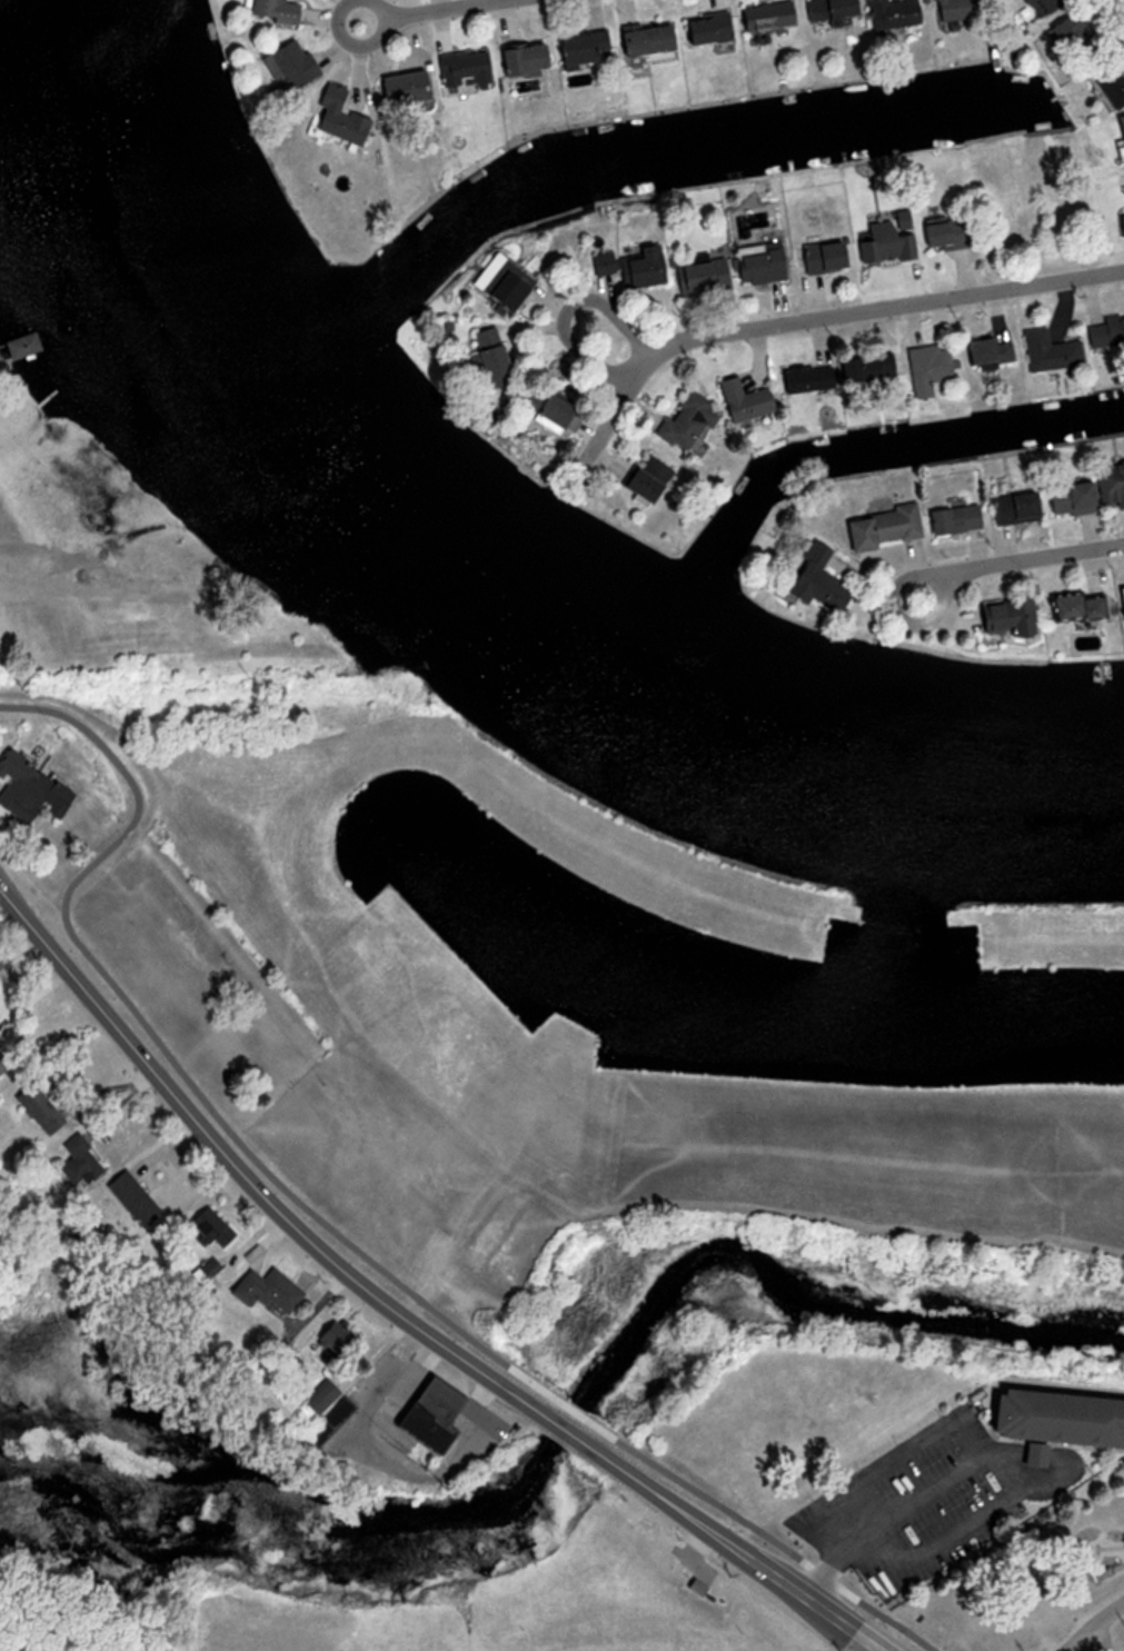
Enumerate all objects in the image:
road: (1122, 2)
building: (1043, 4)
building: (281, 10)
building: (824, 10)
building: (948, 10)
road: (395, 11)
building: (888, 13)
building: (764, 16)
building: (702, 30)
building: (1072, 39)
building: (639, 40)
building: (577, 47)
building: (517, 59)
building: (299, 63)
building: (466, 68)
building: (414, 86)
building: (344, 116)
building: (1121, 132)
building: (1120, 231)
building: (938, 235)
building: (886, 240)
building: (818, 258)
building: (757, 263)
building: (630, 267)
building: (699, 277)
building: (500, 290)
road: (858, 310)
building: (1104, 334)
building: (32, 345)
building: (1046, 351)
building: (985, 352)
building: (487, 358)
building: (863, 368)
building: (926, 371)
building: (804, 380)
building: (742, 400)
building: (540, 407)
building: (685, 422)
building: (641, 480)
building: (1108, 486)
building: (1067, 499)
building: (1013, 508)
building: (952, 520)
building: (879, 528)
road: (996, 565)
building: (814, 580)
river: (436, 584)
building: (1118, 603)
building: (1073, 607)
building: (1002, 618)
building: (36, 788)
park: (589, 1027)
building: (0, 1034)
building: (4, 1062)
building: (46, 1107)
building: (86, 1160)
road: (242, 1175)
building: (140, 1197)
building: (217, 1229)
building: (217, 1265)
building: (276, 1289)
building: (325, 1394)
building: (445, 1413)
building: (1061, 1418)
building: (336, 1419)
road: (563, 1425)
road: (888, 1523)
road: (734, 1548)
road: (1110, 1555)
park: (1029, 1584)
building: (696, 1588)
road: (1093, 1625)
road: (874, 1650)

